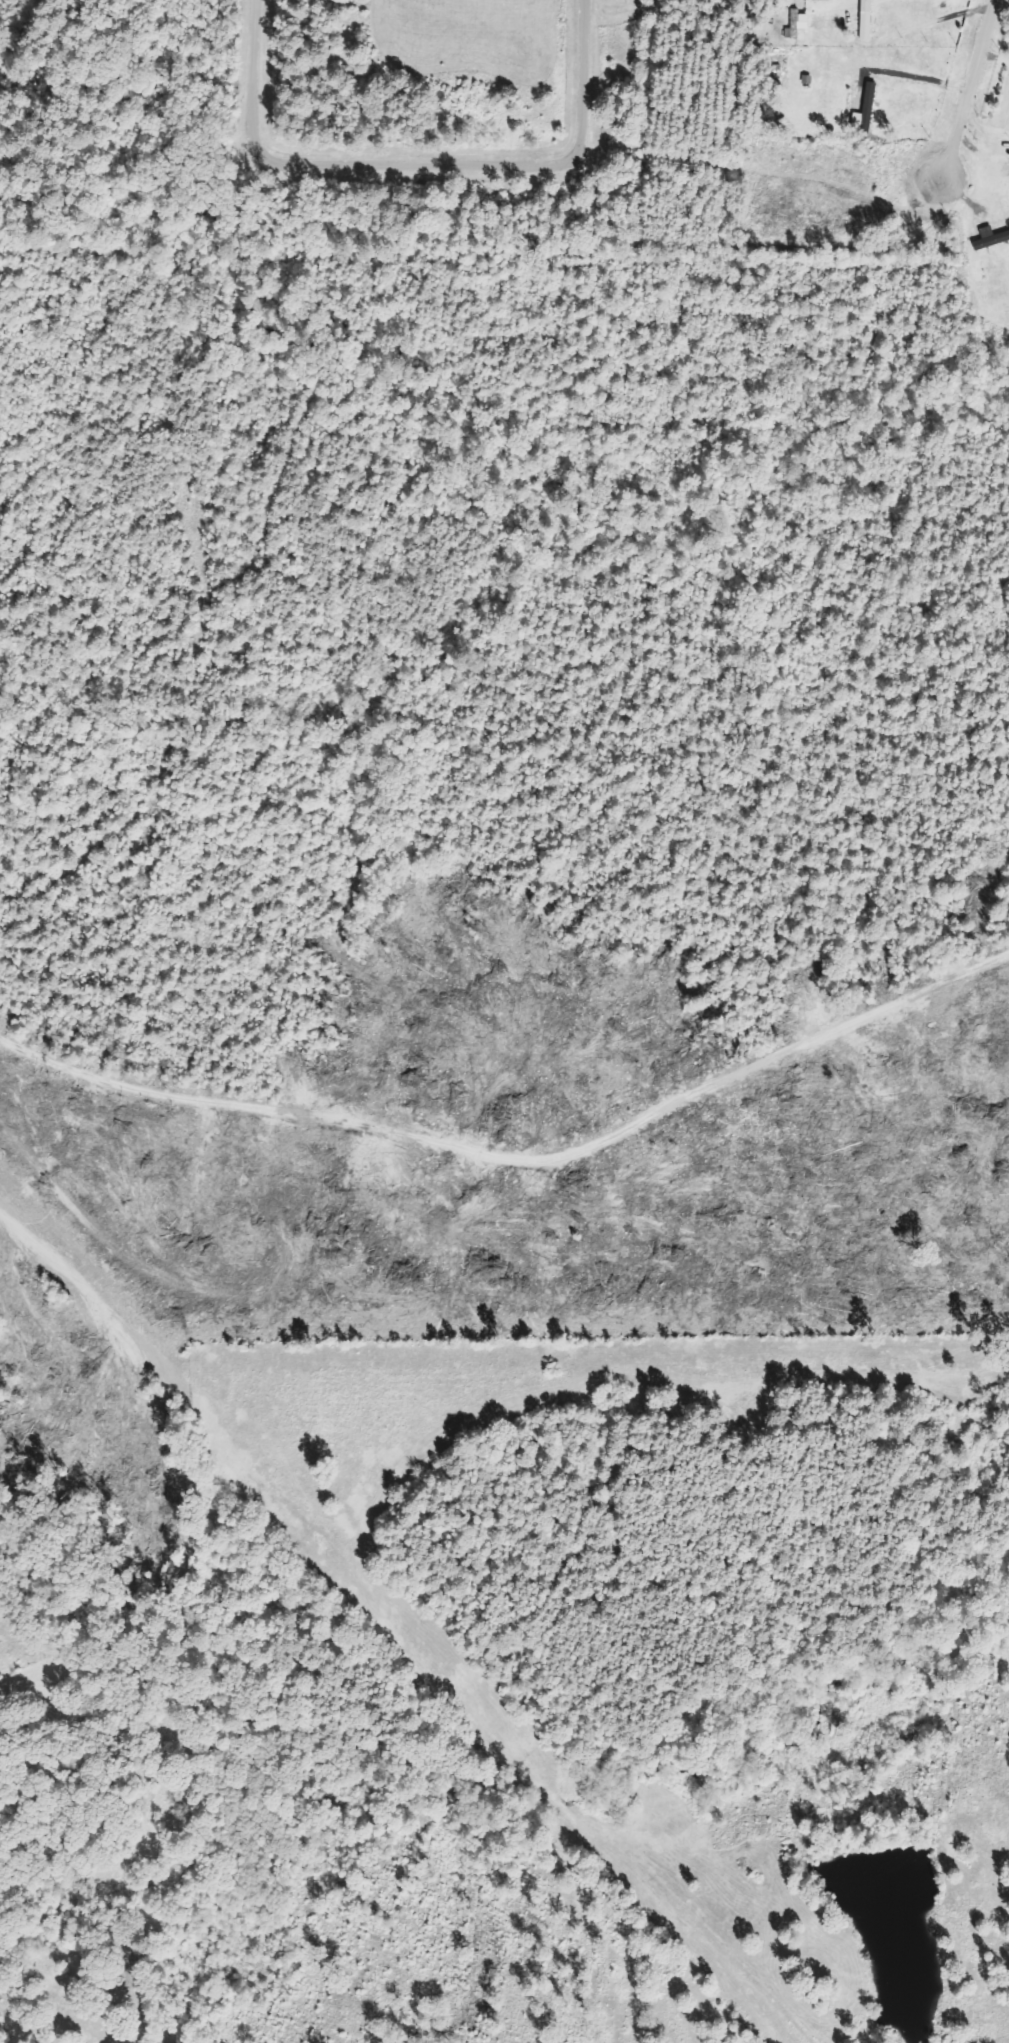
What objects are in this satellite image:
building: (797, 23)
road: (111, 68)
road: (970, 88)
building: (864, 106)
road: (418, 164)
building: (990, 239)
road: (513, 1131)

